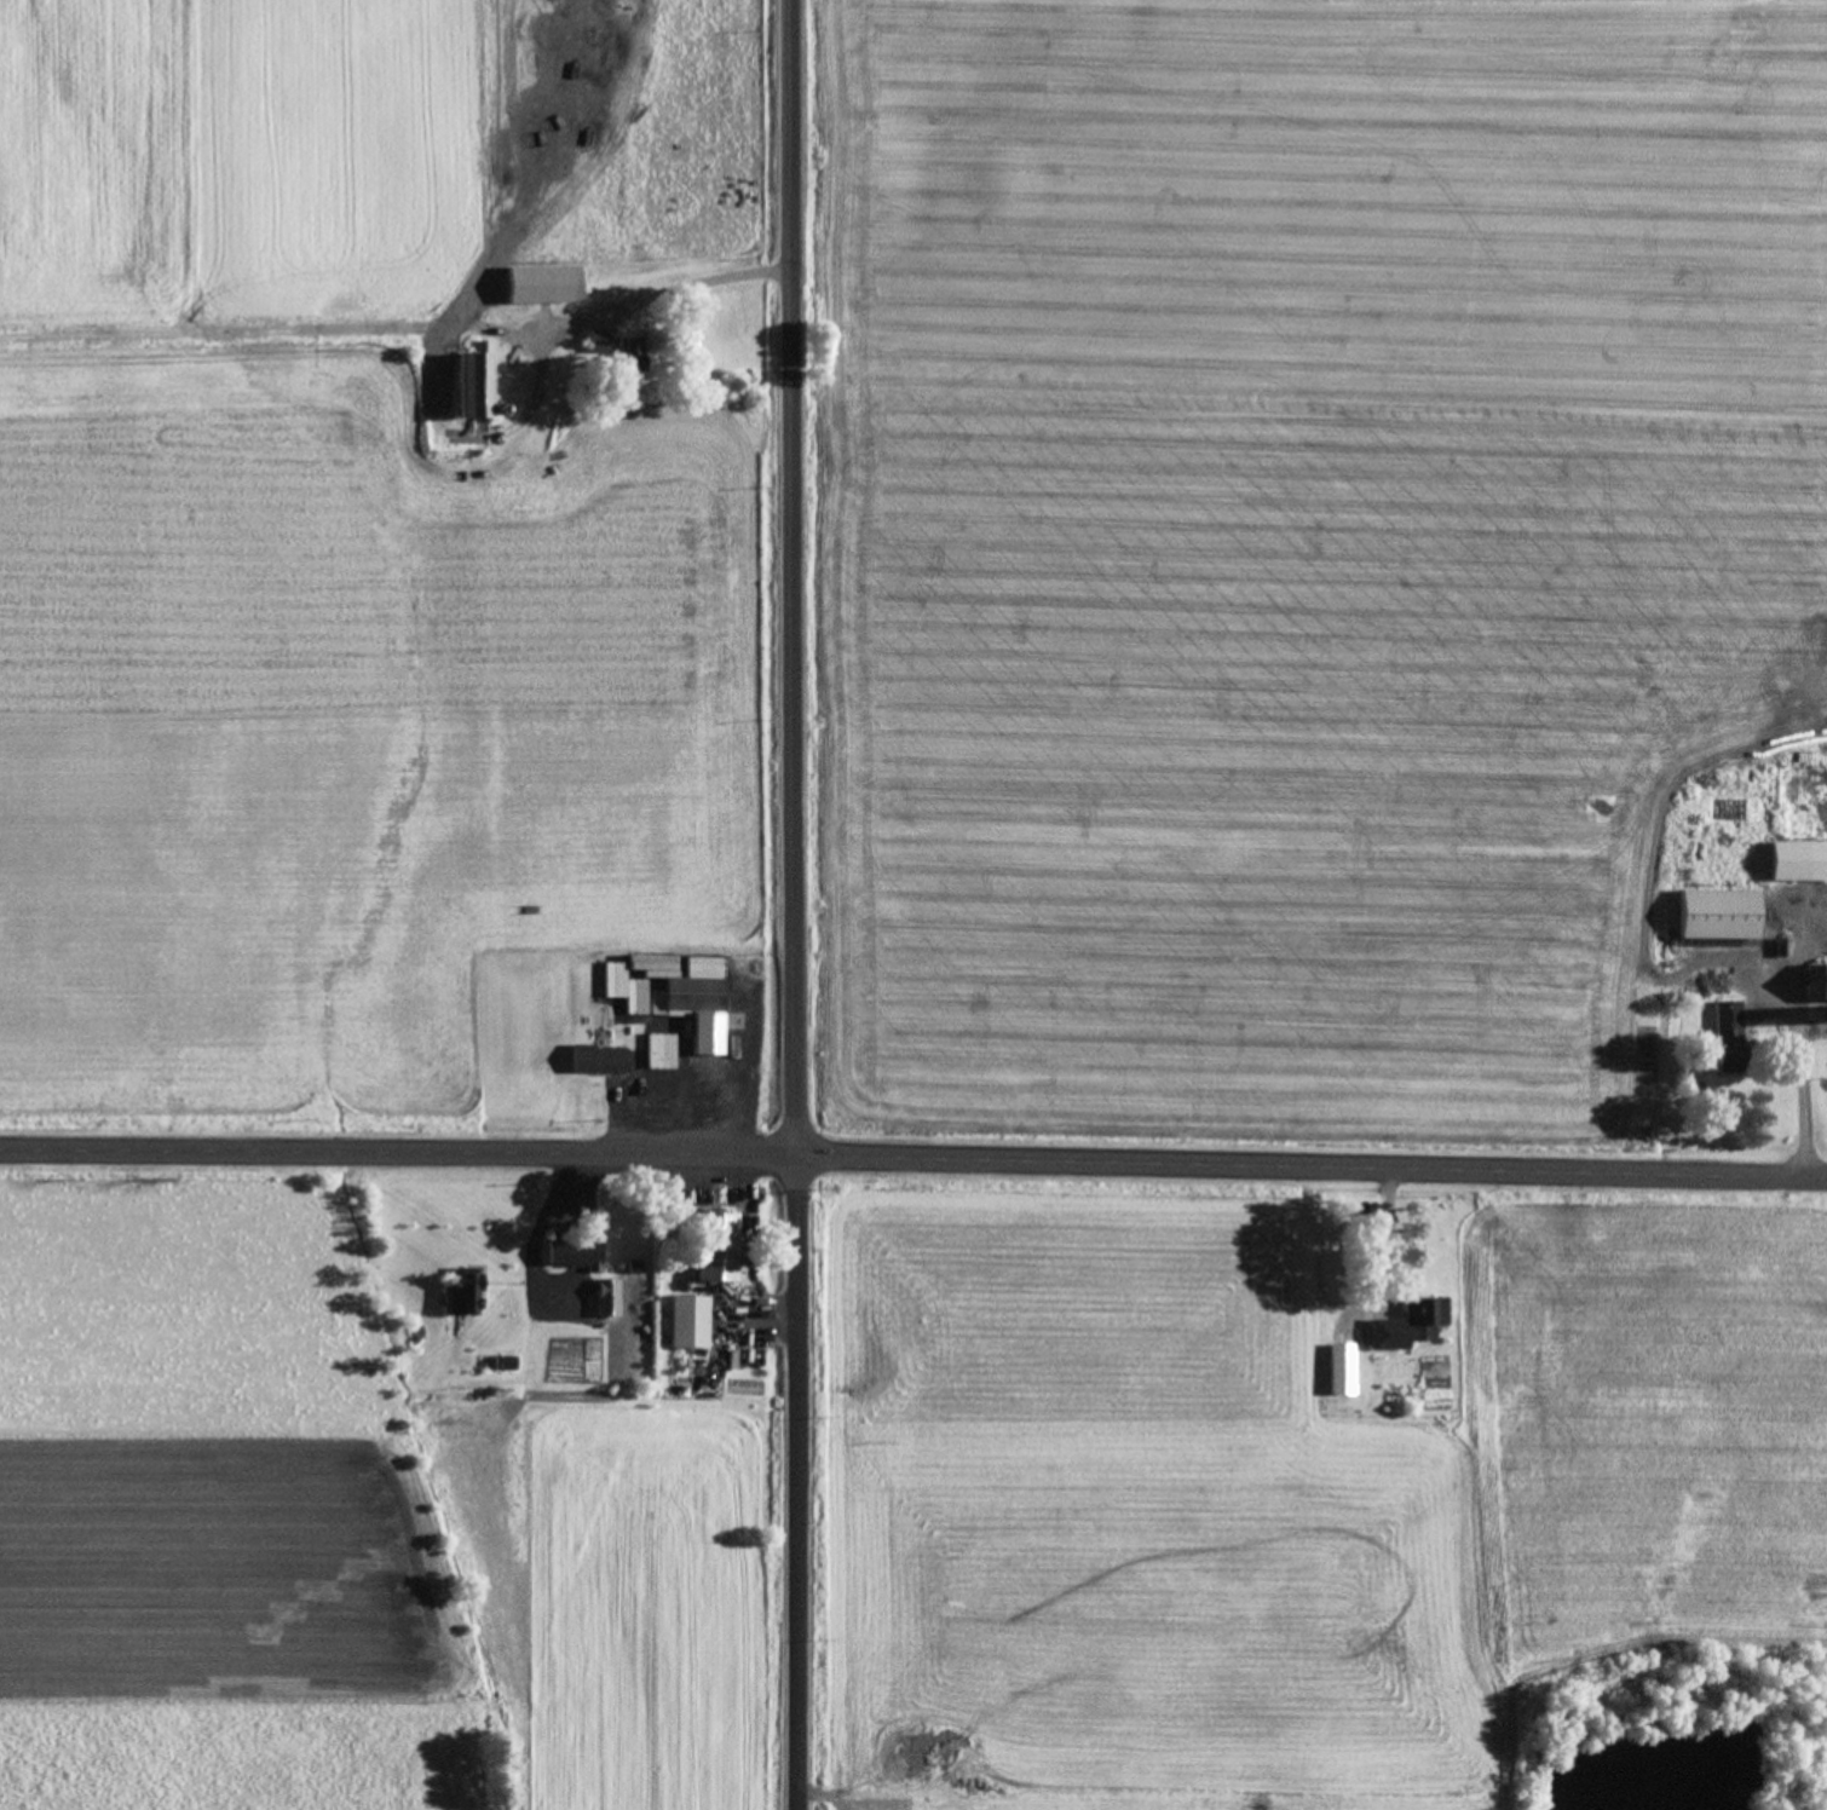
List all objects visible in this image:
building: (538, 286)
road: (656, 292)
building: (599, 342)
building: (629, 358)
building: (468, 387)
building: (1797, 863)
road: (795, 904)
building: (1716, 916)
building: (1819, 984)
building: (696, 1013)
building: (1728, 1034)
building: (669, 1044)
road: (1797, 1045)
building: (596, 1061)
road: (913, 1159)
building: (590, 1244)
building: (711, 1249)
building: (686, 1322)
building: (1404, 1327)
building: (1339, 1371)

